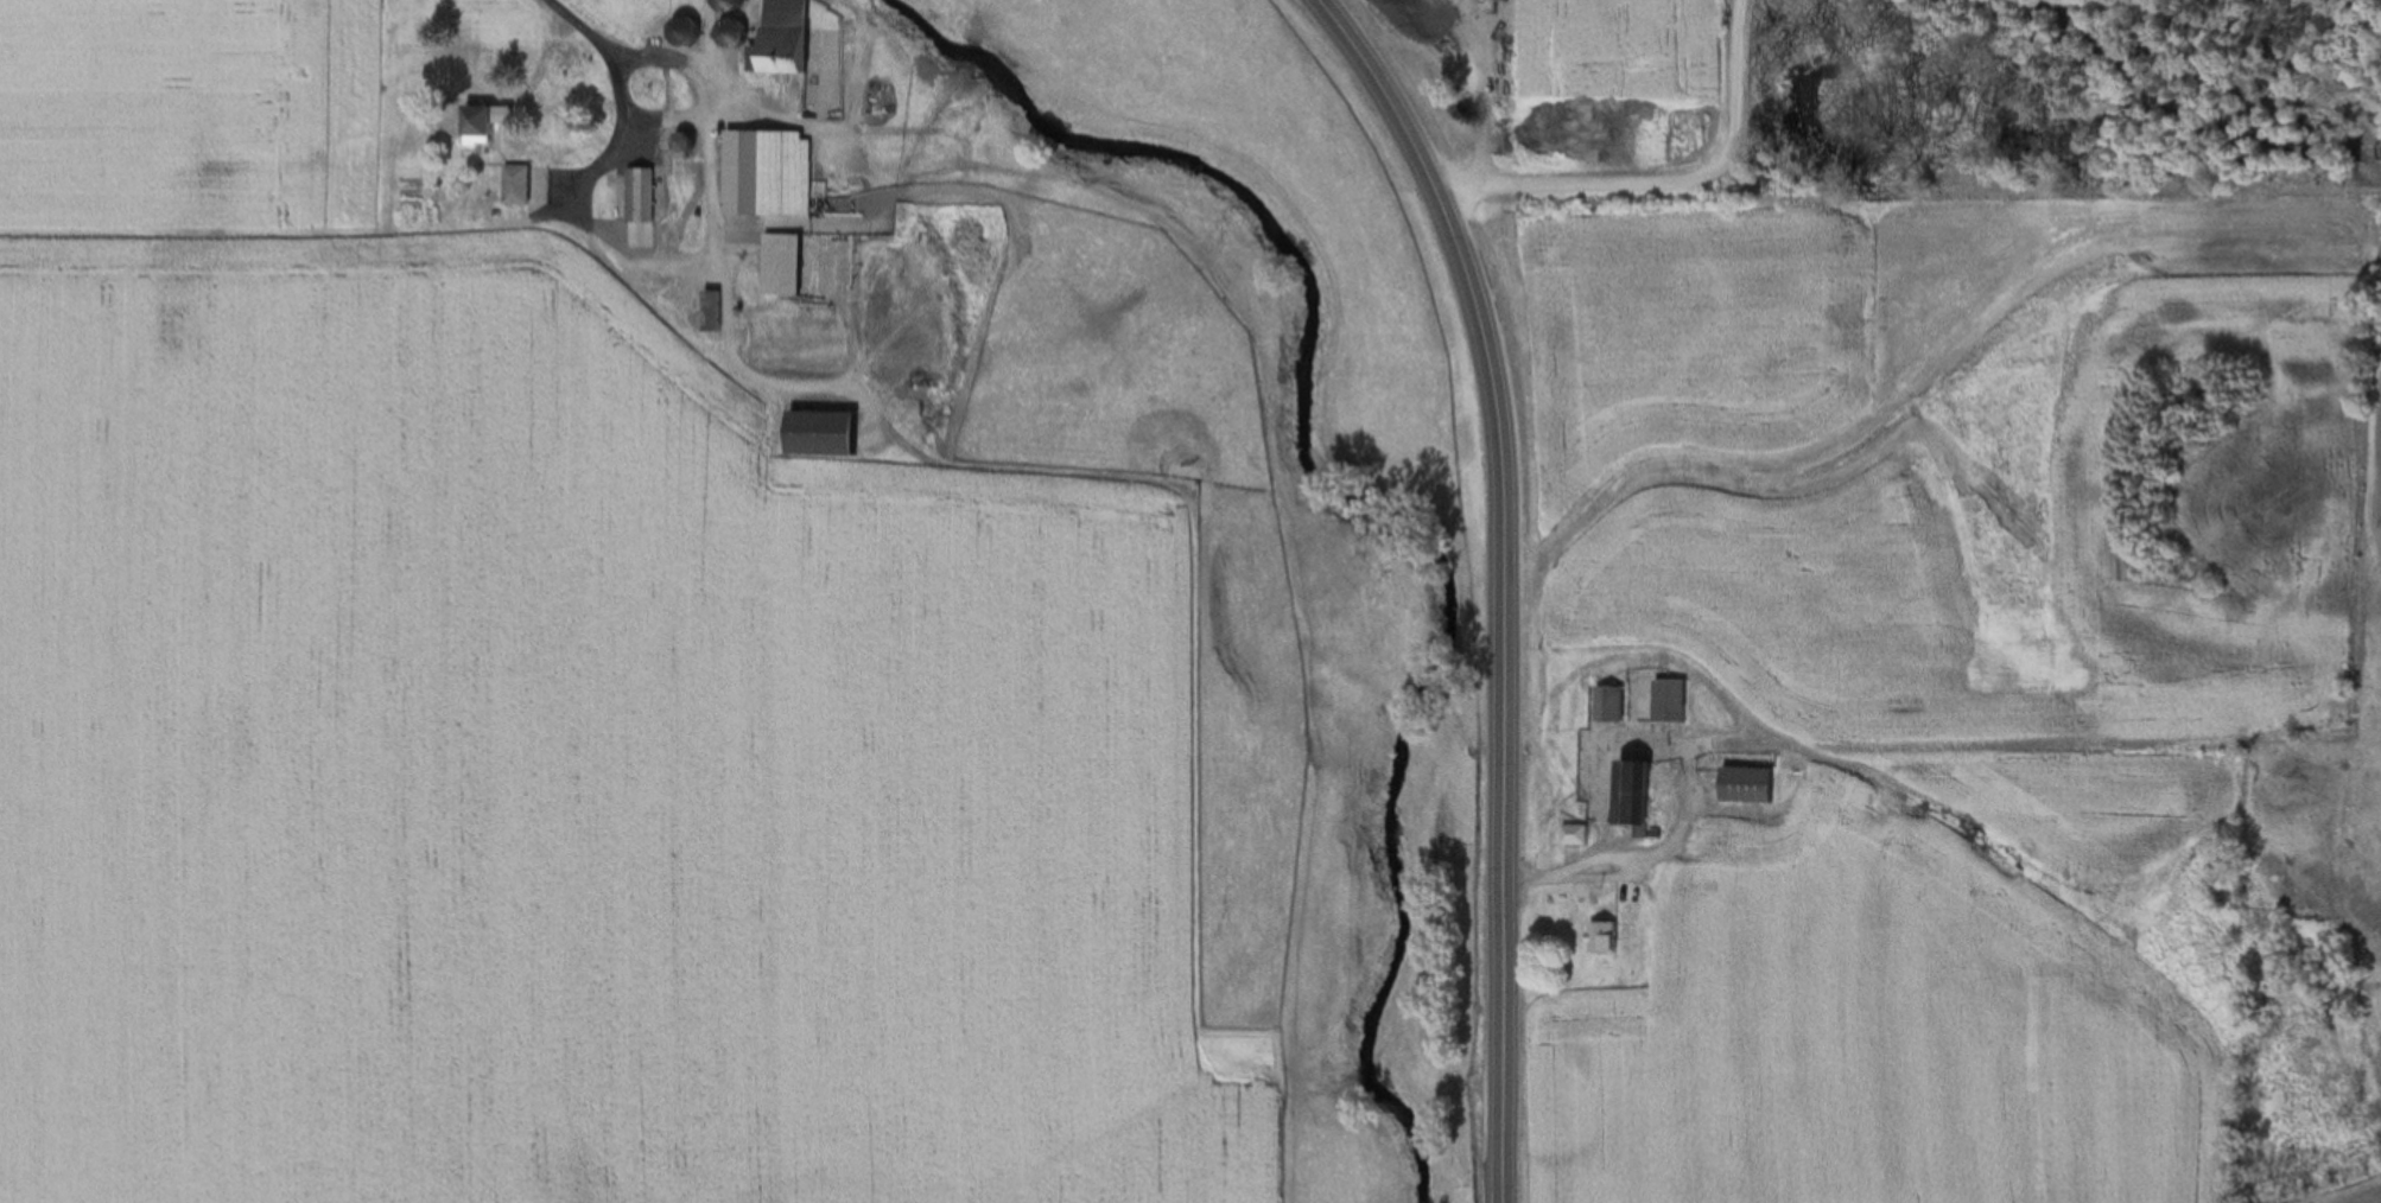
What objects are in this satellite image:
building: (744, 5)
building: (694, 32)
building: (795, 39)
road: (631, 56)
road: (1477, 78)
building: (496, 120)
building: (777, 172)
building: (526, 184)
road: (1666, 184)
building: (648, 217)
road: (642, 260)
building: (793, 263)
building: (1177, 425)
building: (836, 432)
building: (1157, 432)
road: (1504, 580)
building: (1674, 700)
building: (1614, 702)
building: (1751, 784)
building: (1637, 795)
building: (1575, 834)
building: (1722, 846)
building: (1606, 937)

